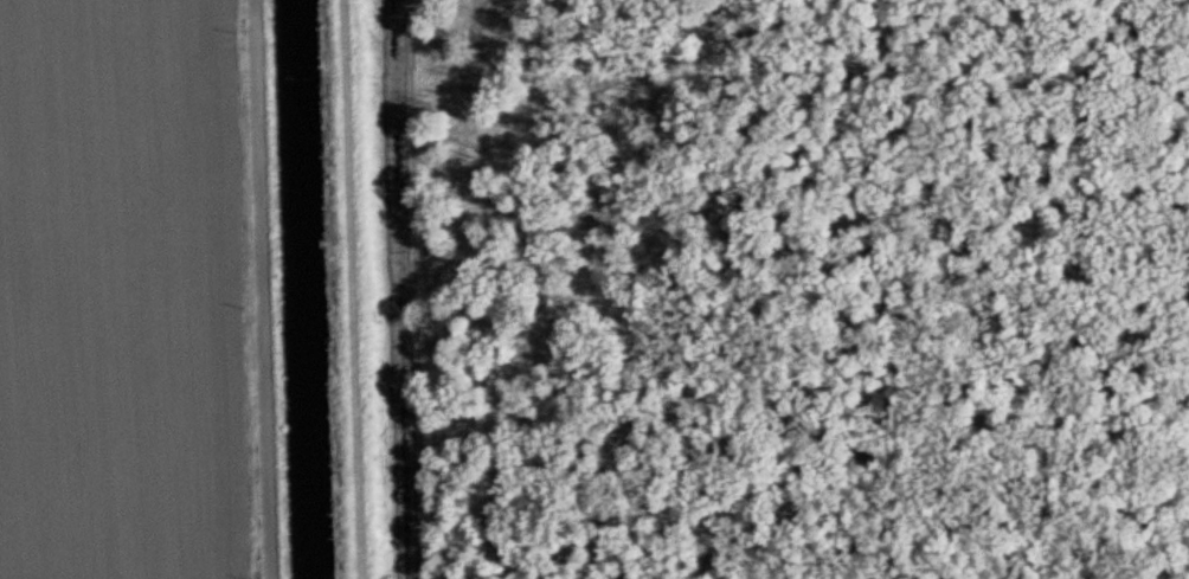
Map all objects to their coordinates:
road: (259, 289)

